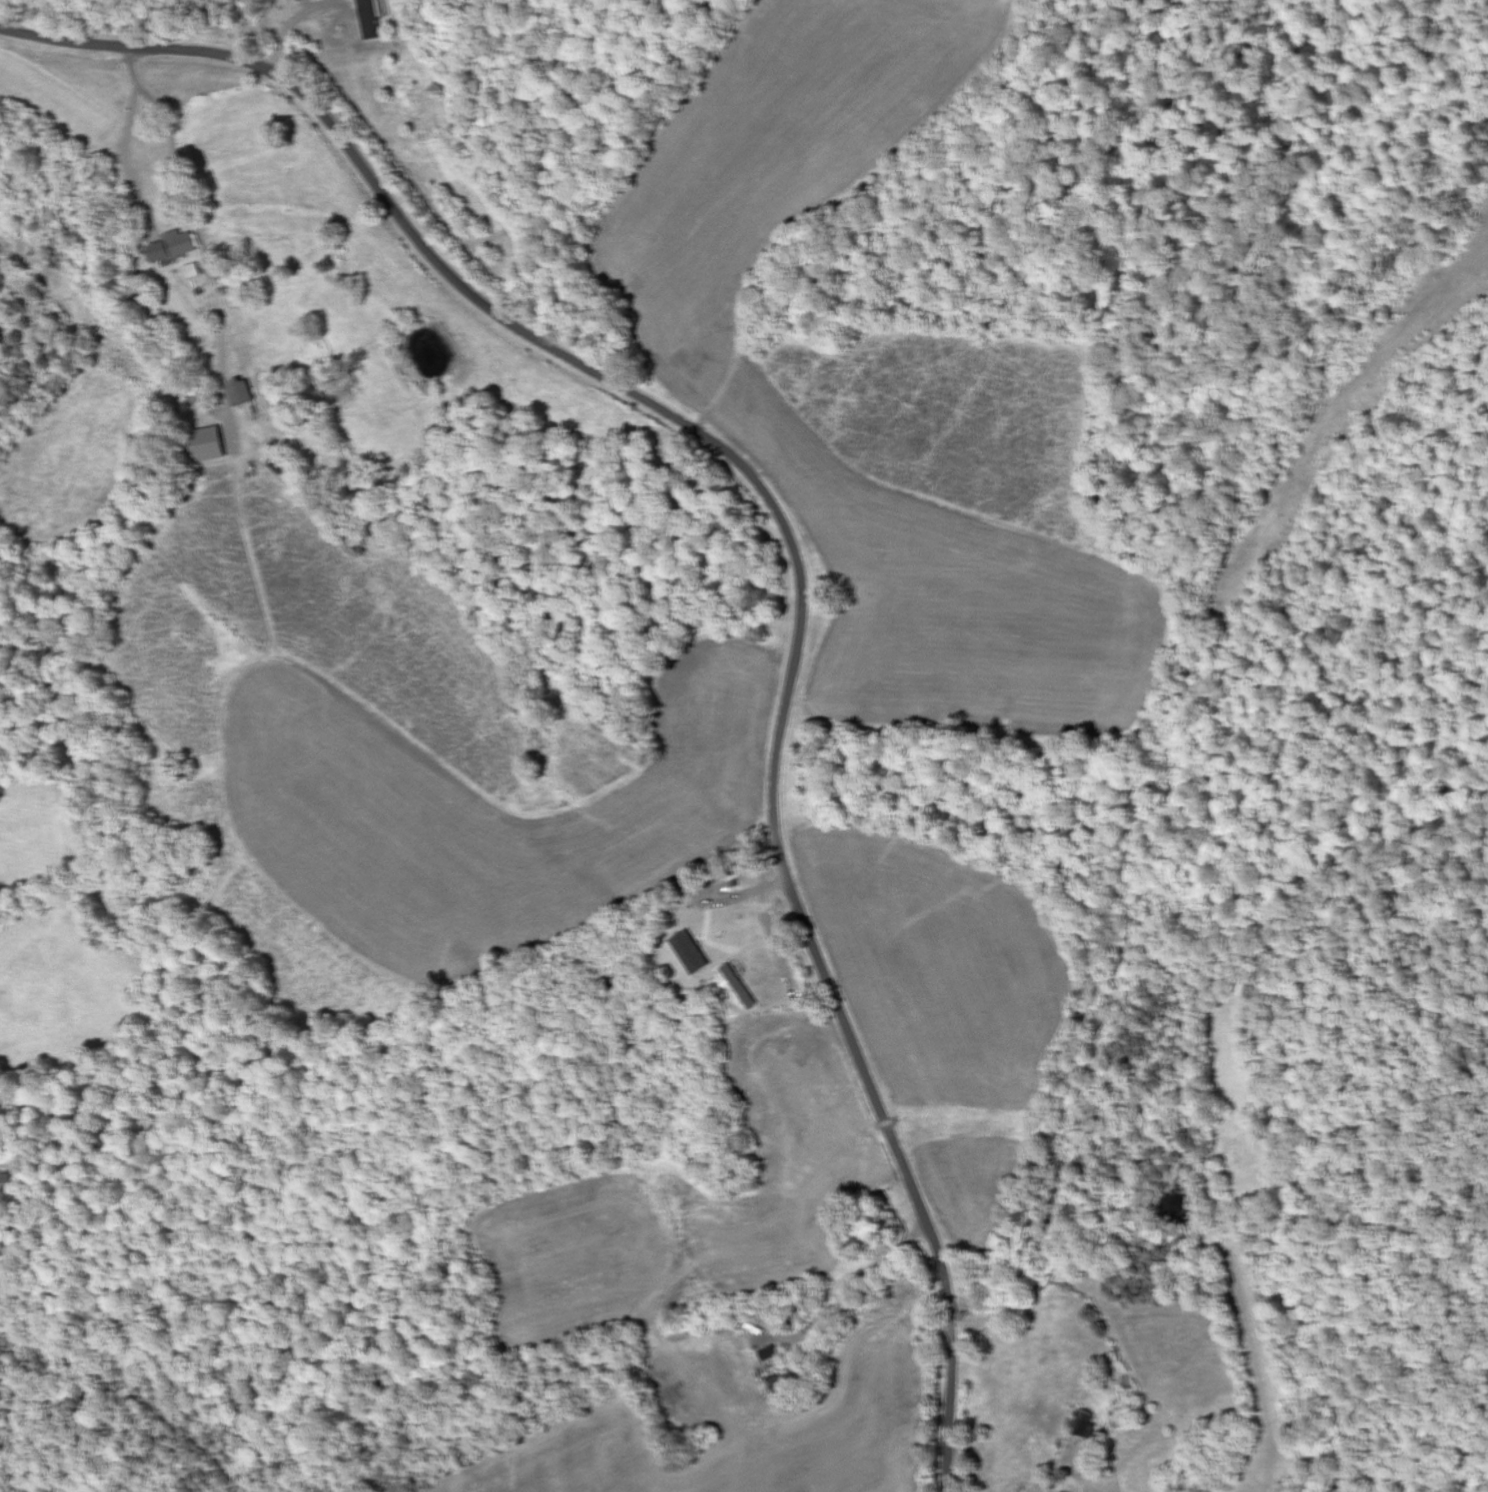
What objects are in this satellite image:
building: (373, 19)
road: (131, 133)
building: (171, 249)
building: (240, 392)
building: (208, 444)
road: (791, 541)
building: (740, 986)
building: (770, 1353)
building: (1089, 1424)

